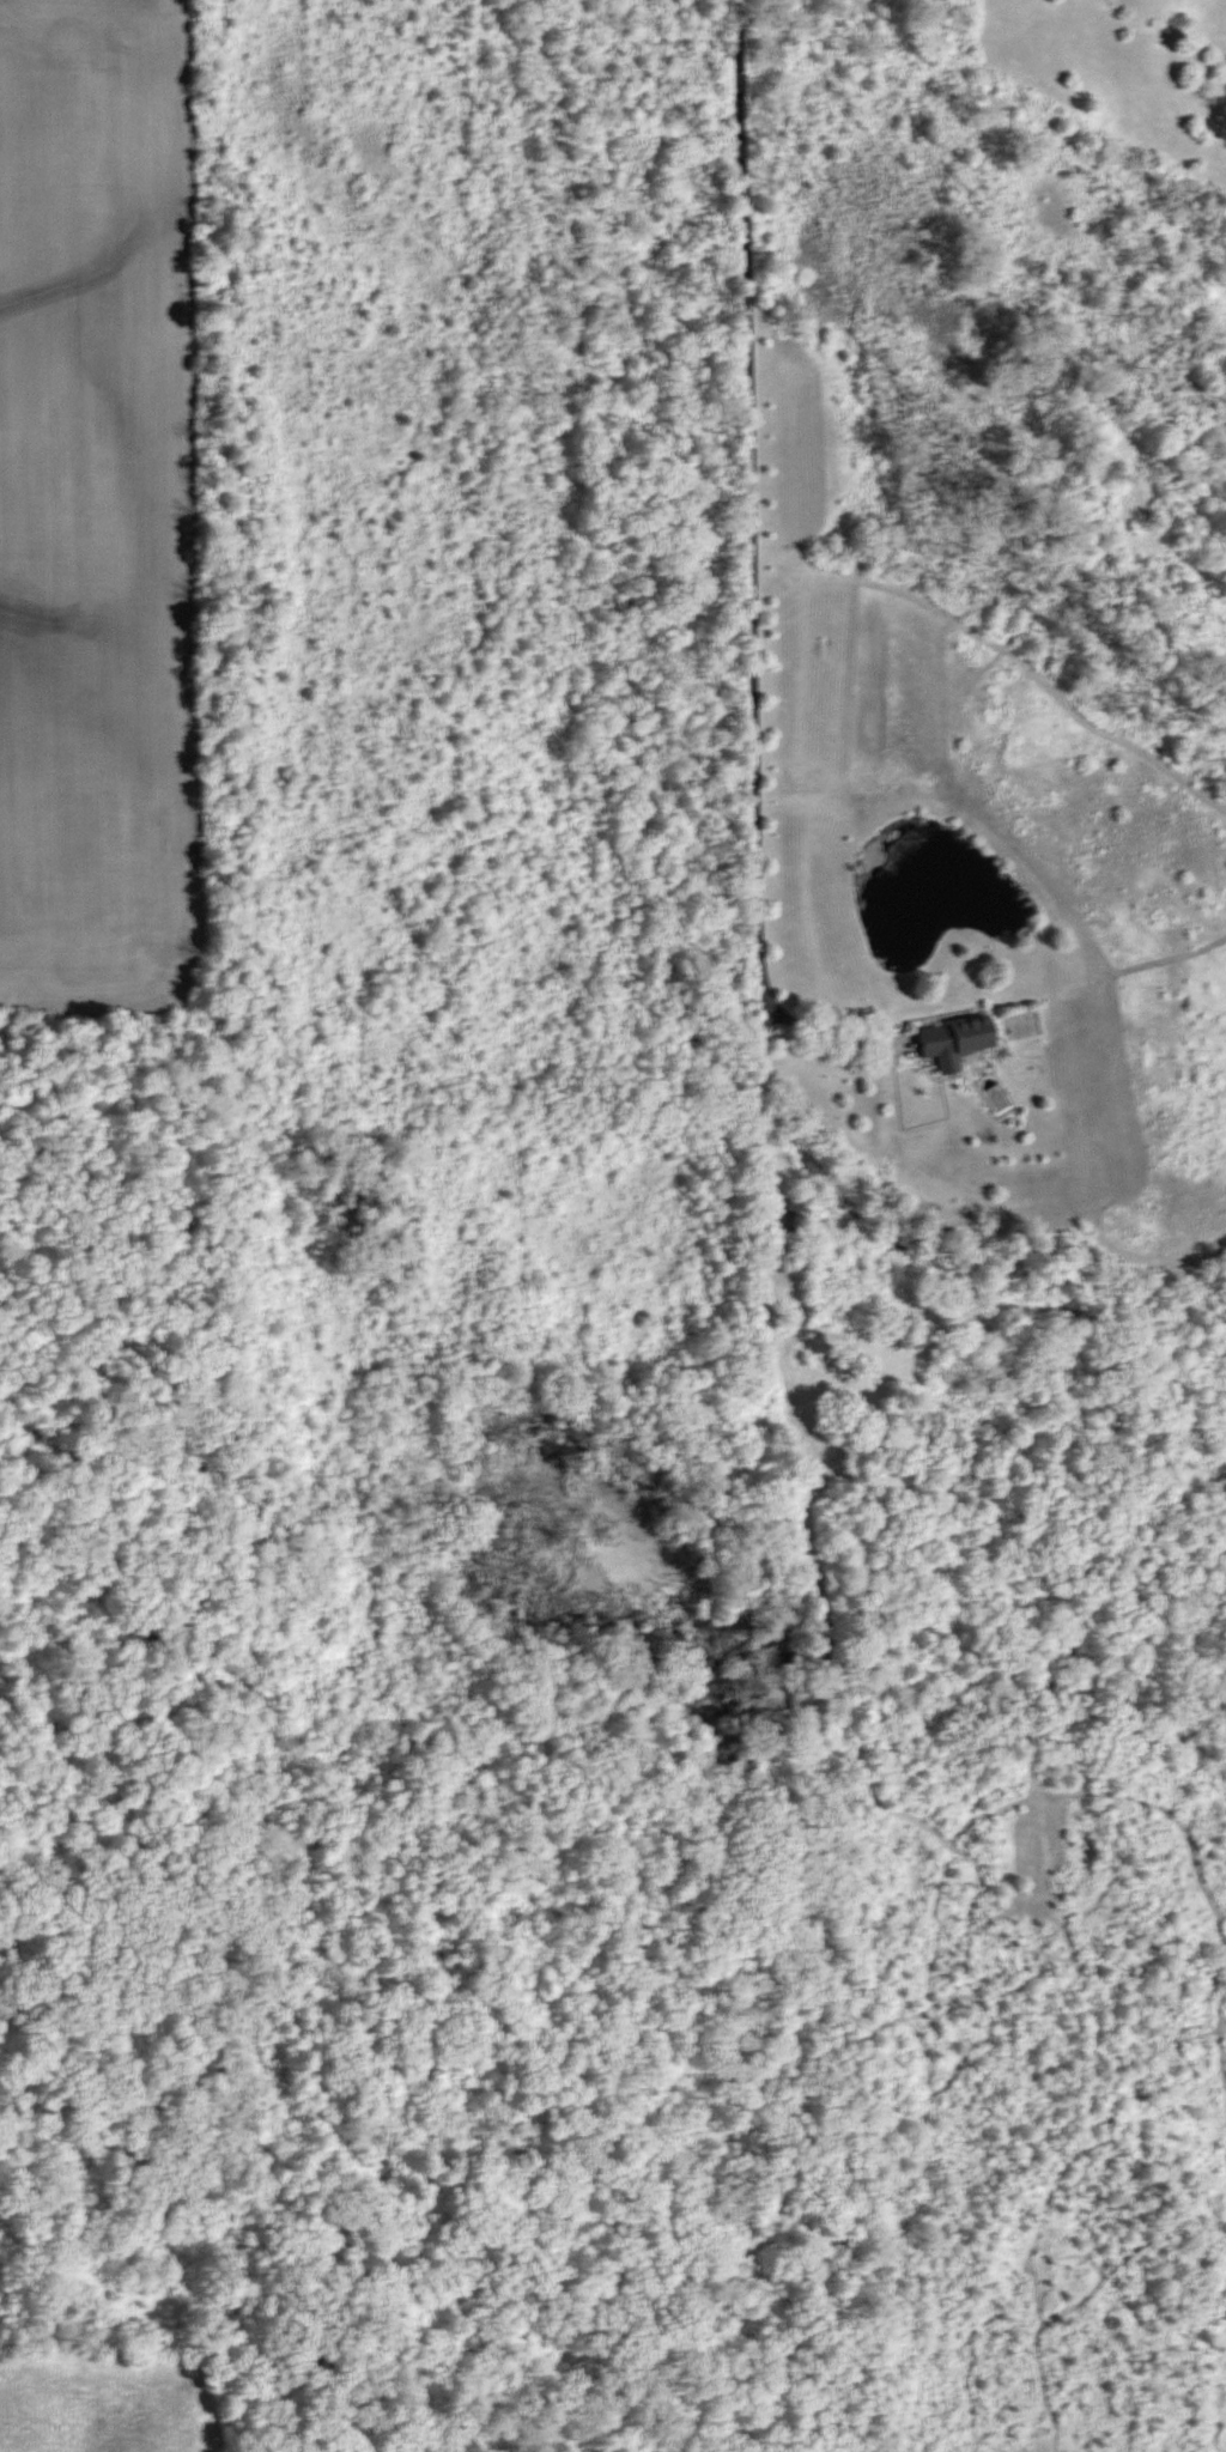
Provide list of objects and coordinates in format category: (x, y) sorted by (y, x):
road: (752, 564)
building: (955, 1040)
building: (799, 1209)
building: (781, 1255)

